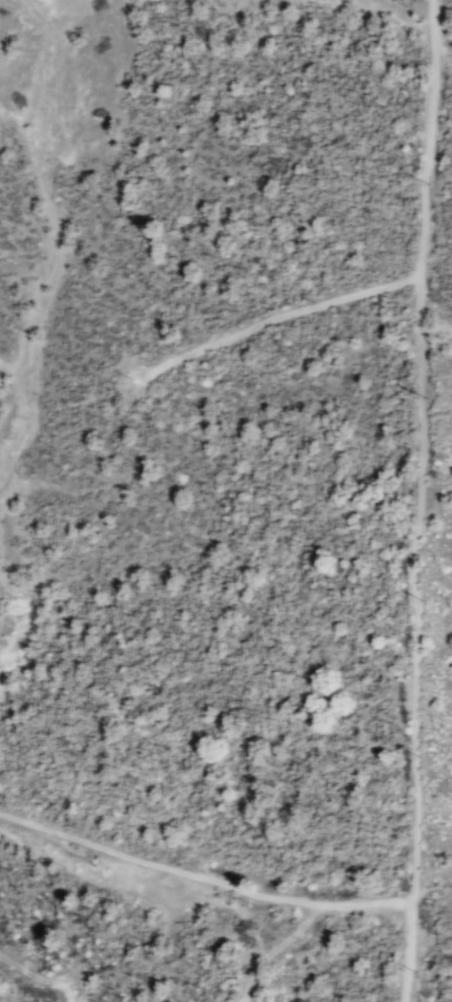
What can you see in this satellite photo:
road: (428, 137)
road: (271, 318)
road: (413, 589)
road: (155, 864)
road: (433, 888)
road: (361, 902)
road: (271, 950)
road: (409, 952)
road: (38, 977)

